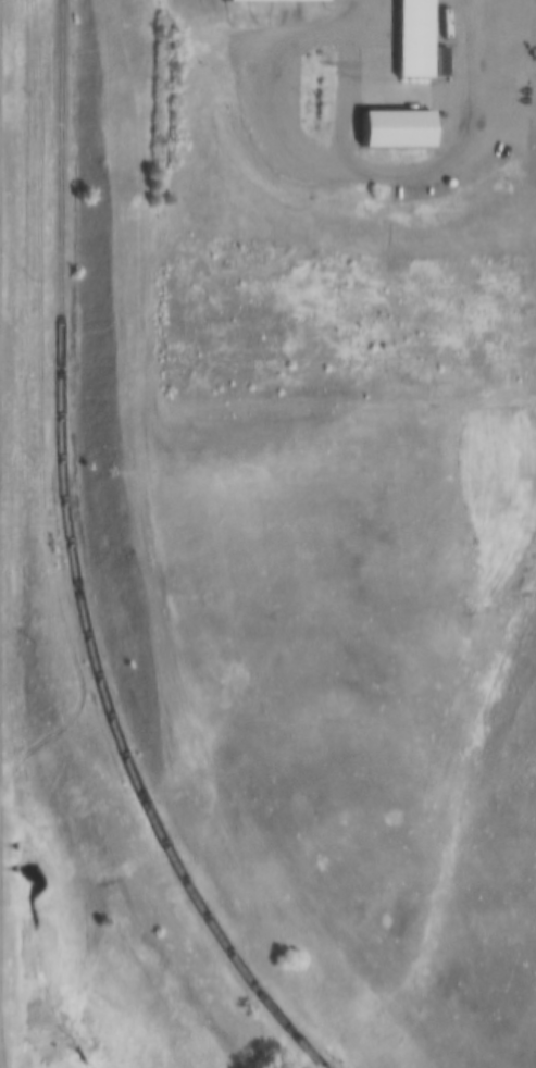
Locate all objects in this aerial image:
building: (269, 2)
road: (466, 32)
building: (416, 39)
building: (400, 131)
railway: (71, 566)

